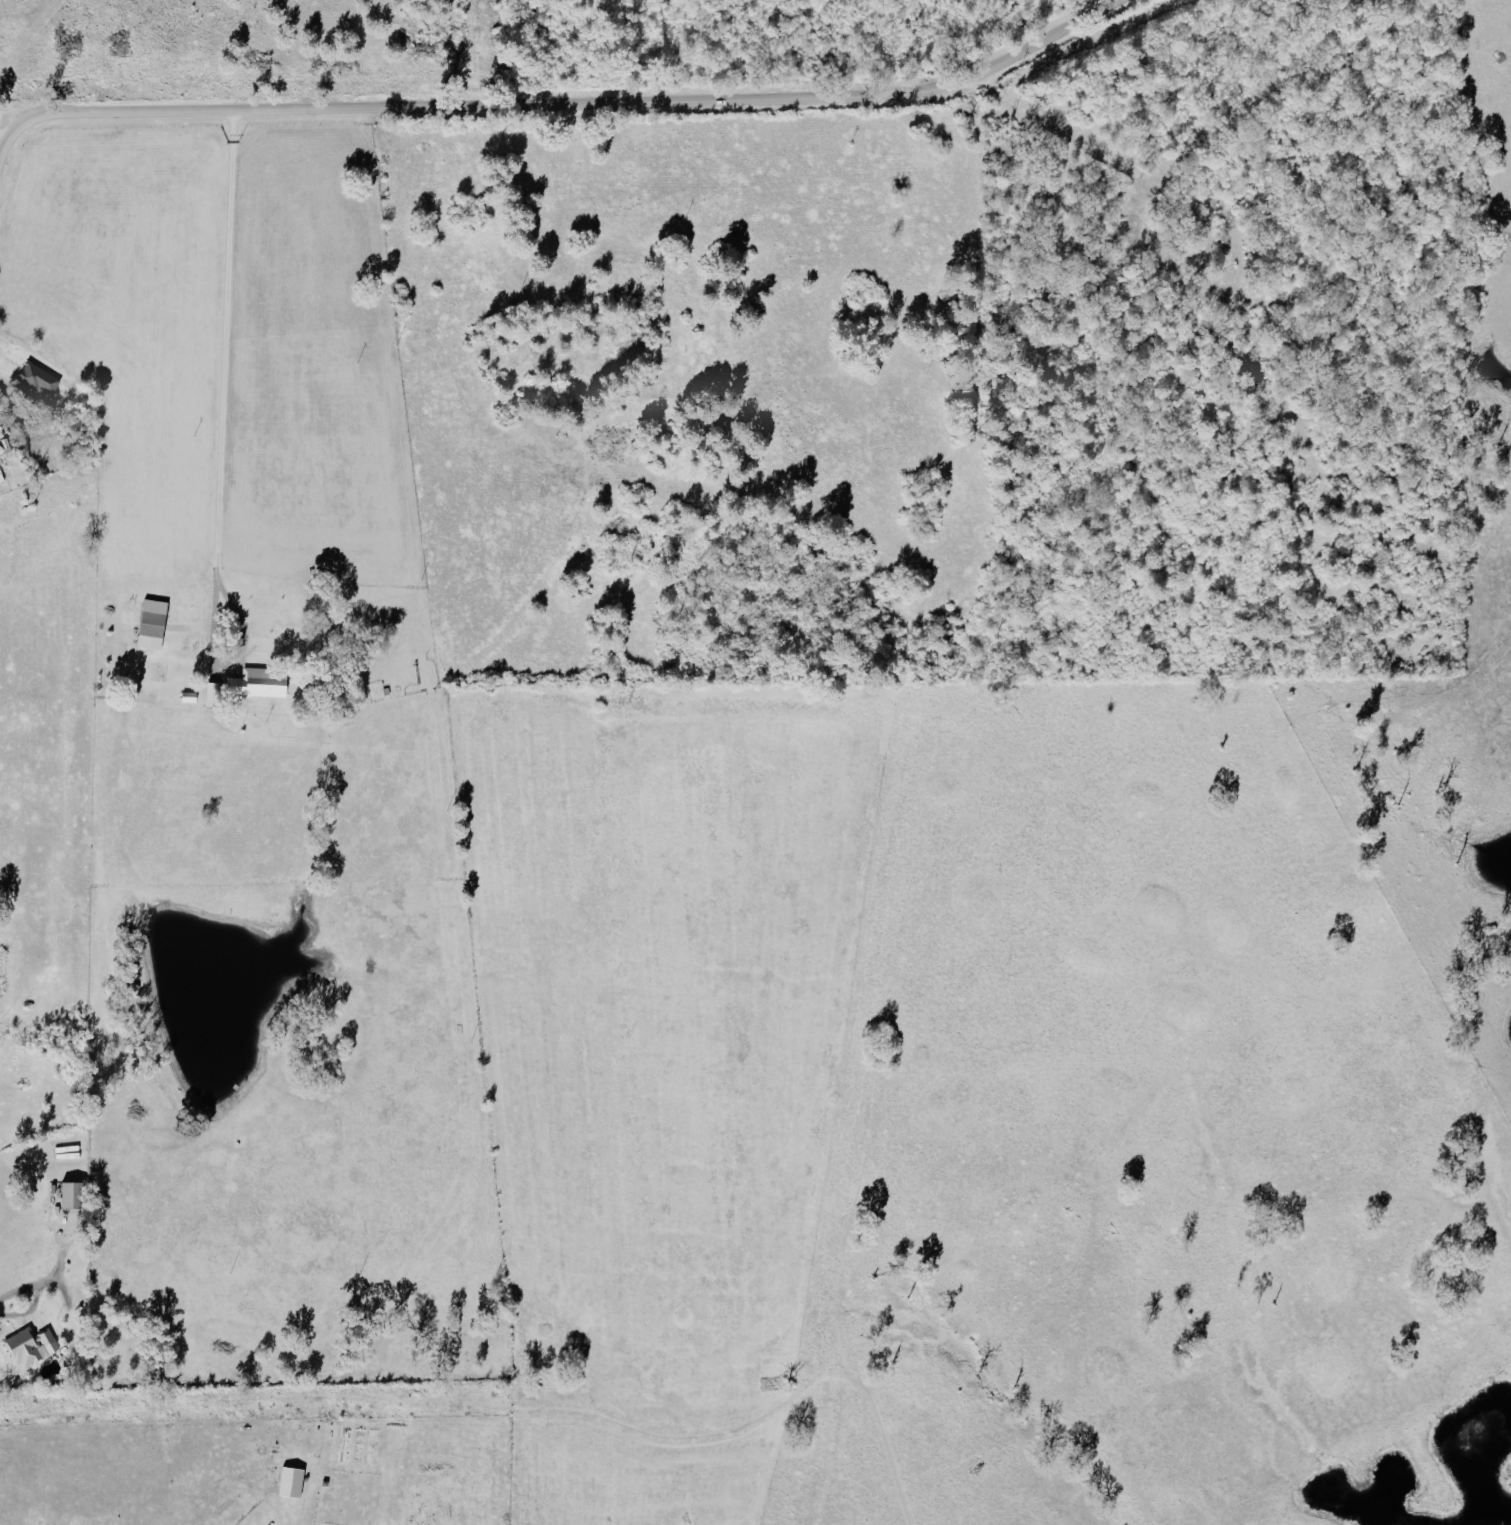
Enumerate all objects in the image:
road: (564, 105)
road: (3, 133)
road: (7, 366)
building: (41, 378)
road: (227, 442)
building: (154, 624)
building: (262, 683)
building: (215, 694)
building: (75, 1195)
road: (9, 1318)
building: (32, 1346)
building: (294, 1482)

